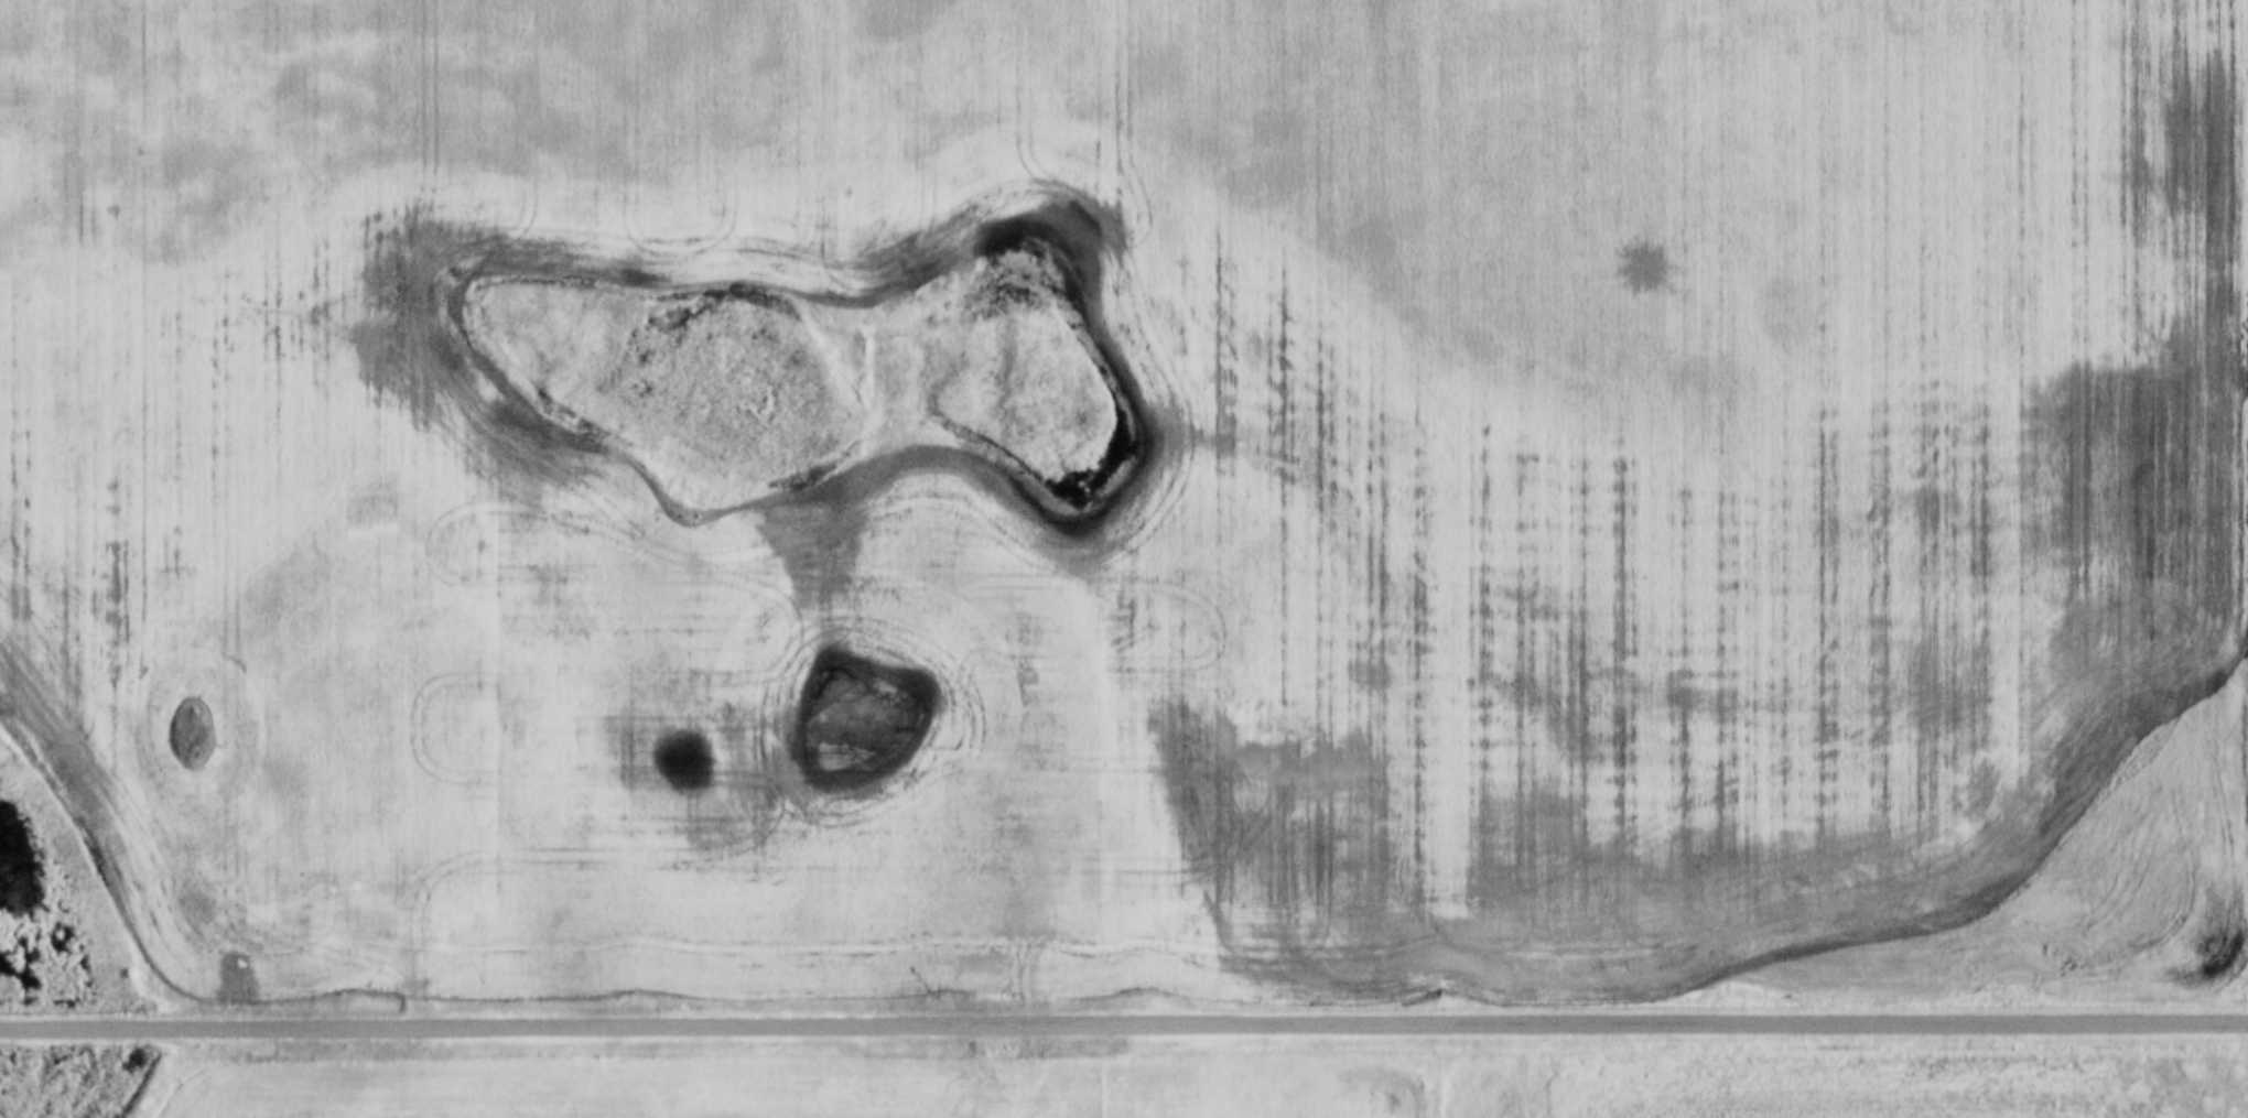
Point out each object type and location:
road: (1123, 1022)

